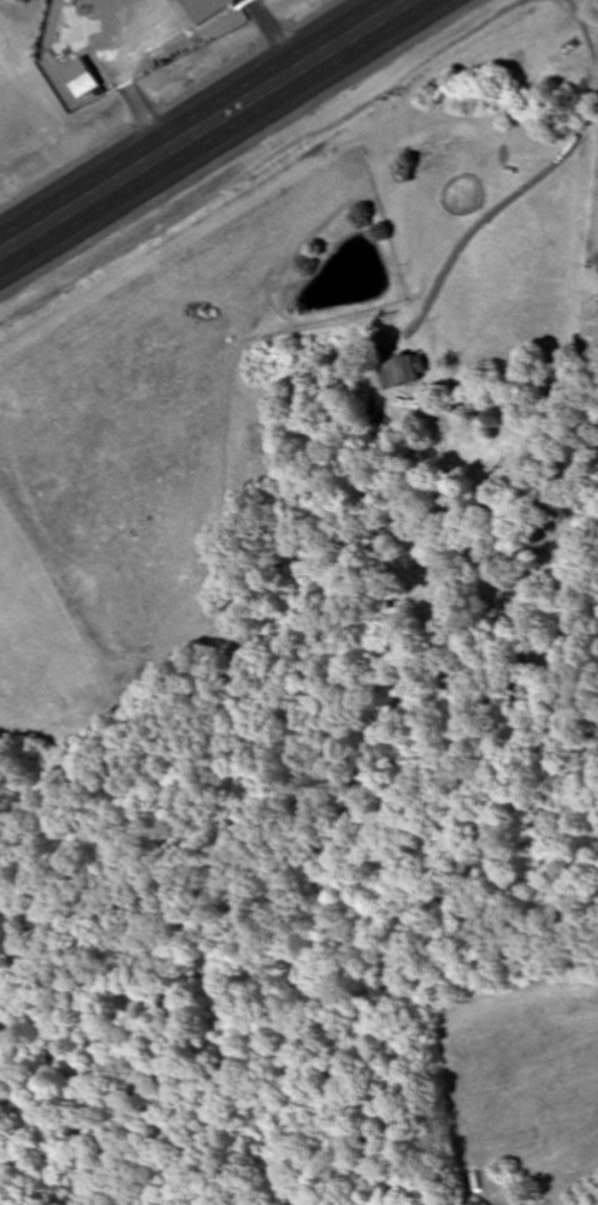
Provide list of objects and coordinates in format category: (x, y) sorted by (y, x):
building: (208, 10)
road: (206, 127)
building: (403, 373)

